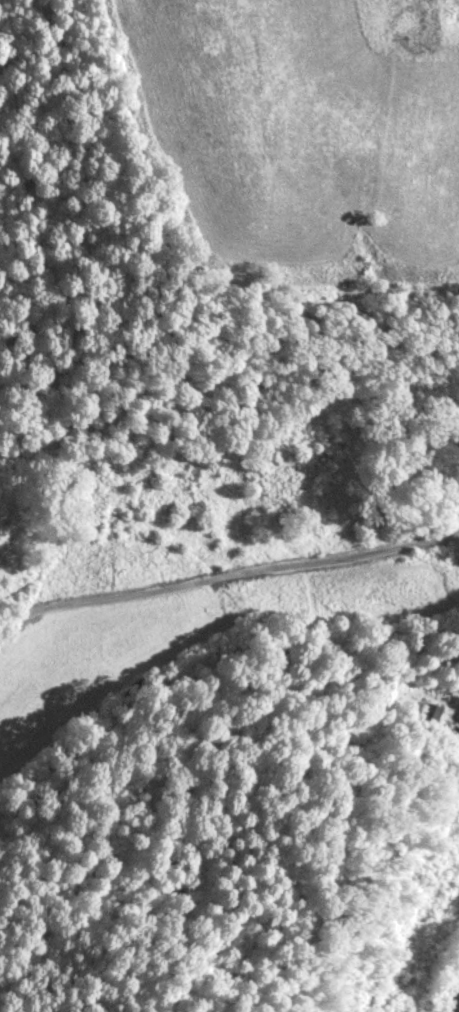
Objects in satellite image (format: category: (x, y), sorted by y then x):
road: (223, 591)
building: (457, 714)
road: (447, 985)

